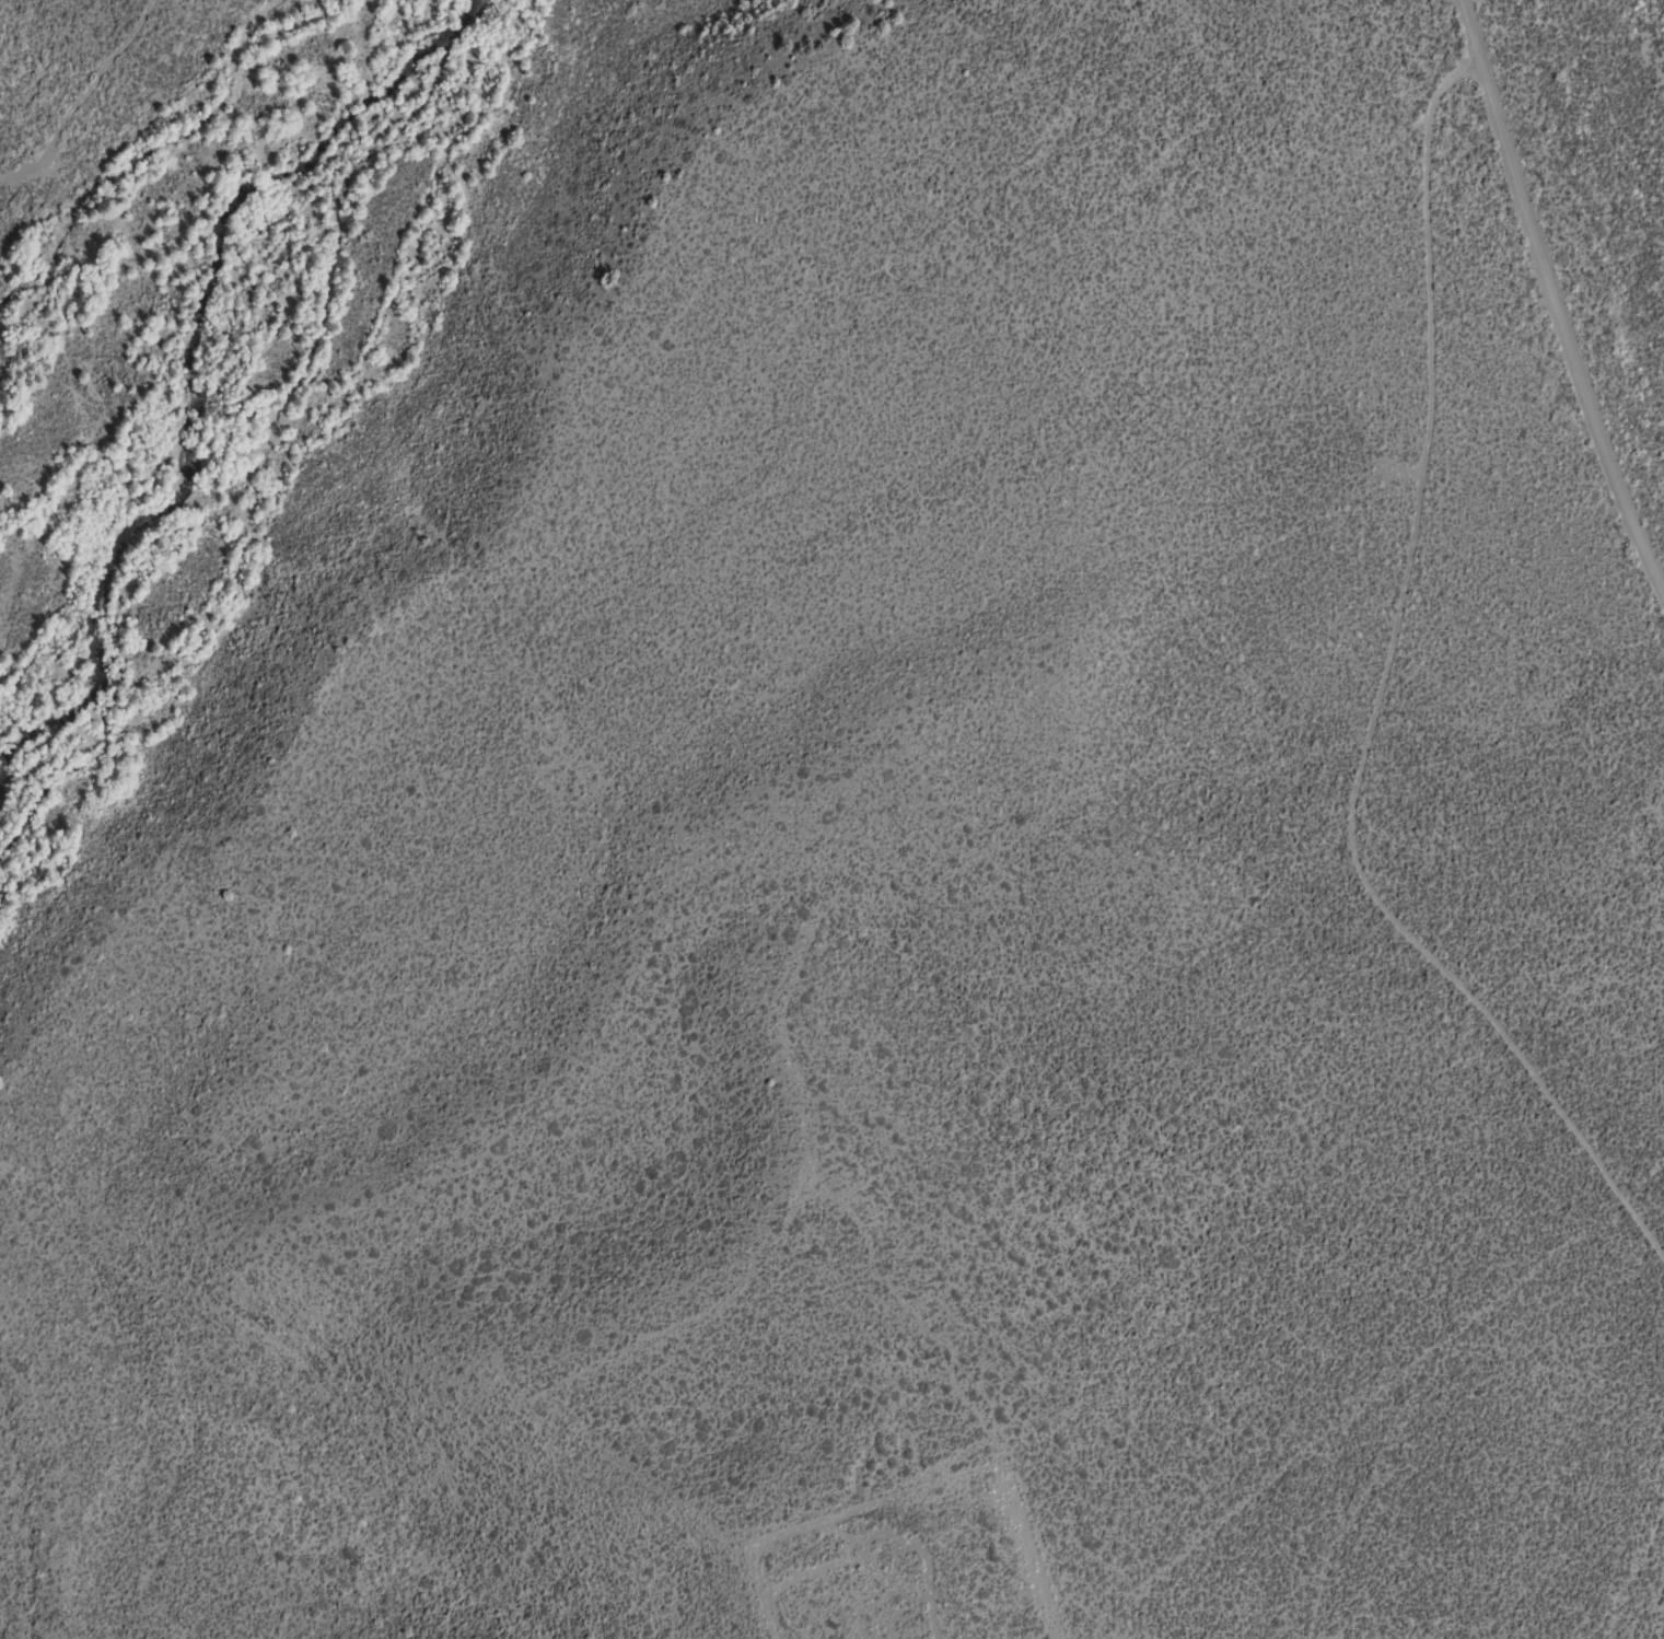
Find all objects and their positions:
road: (80, 94)
road: (1551, 306)
road: (1375, 708)

